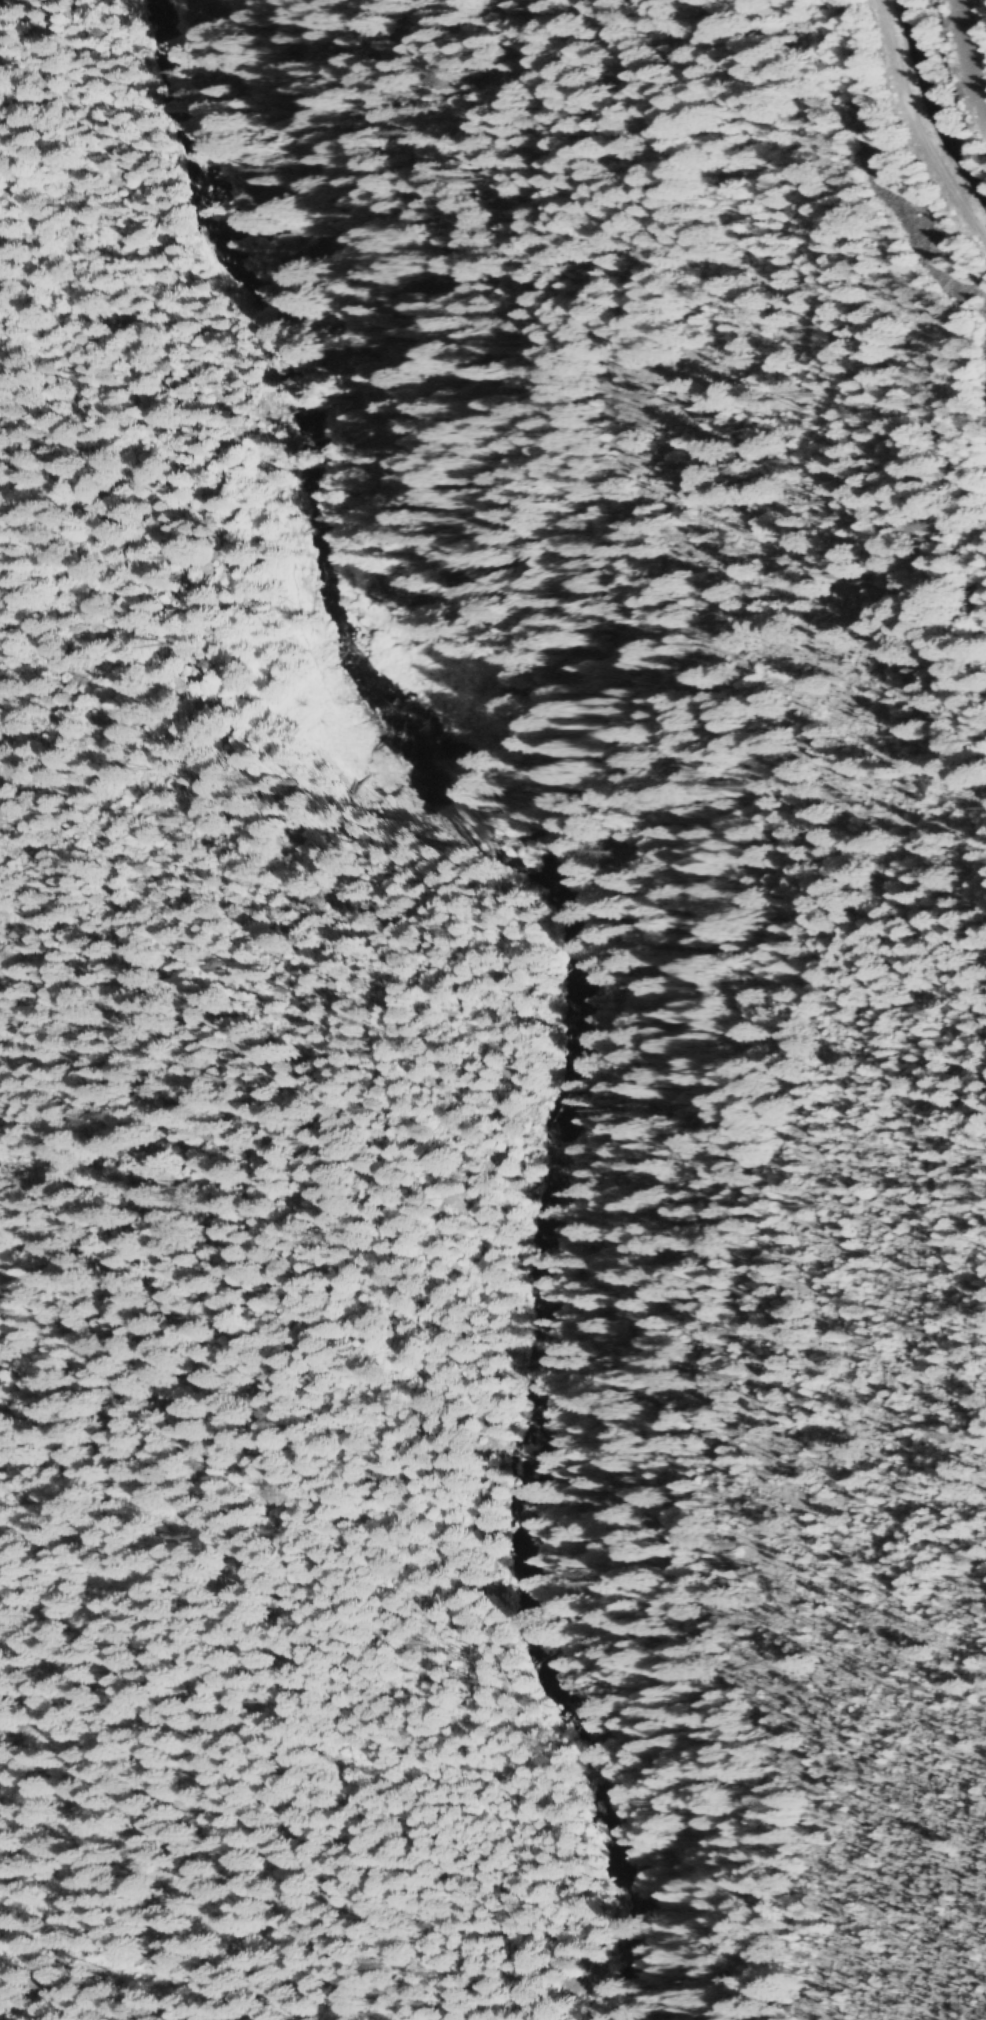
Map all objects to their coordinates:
road: (967, 54)
road: (918, 125)
road: (203, 332)
road: (208, 871)
river: (570, 963)
road: (605, 993)

